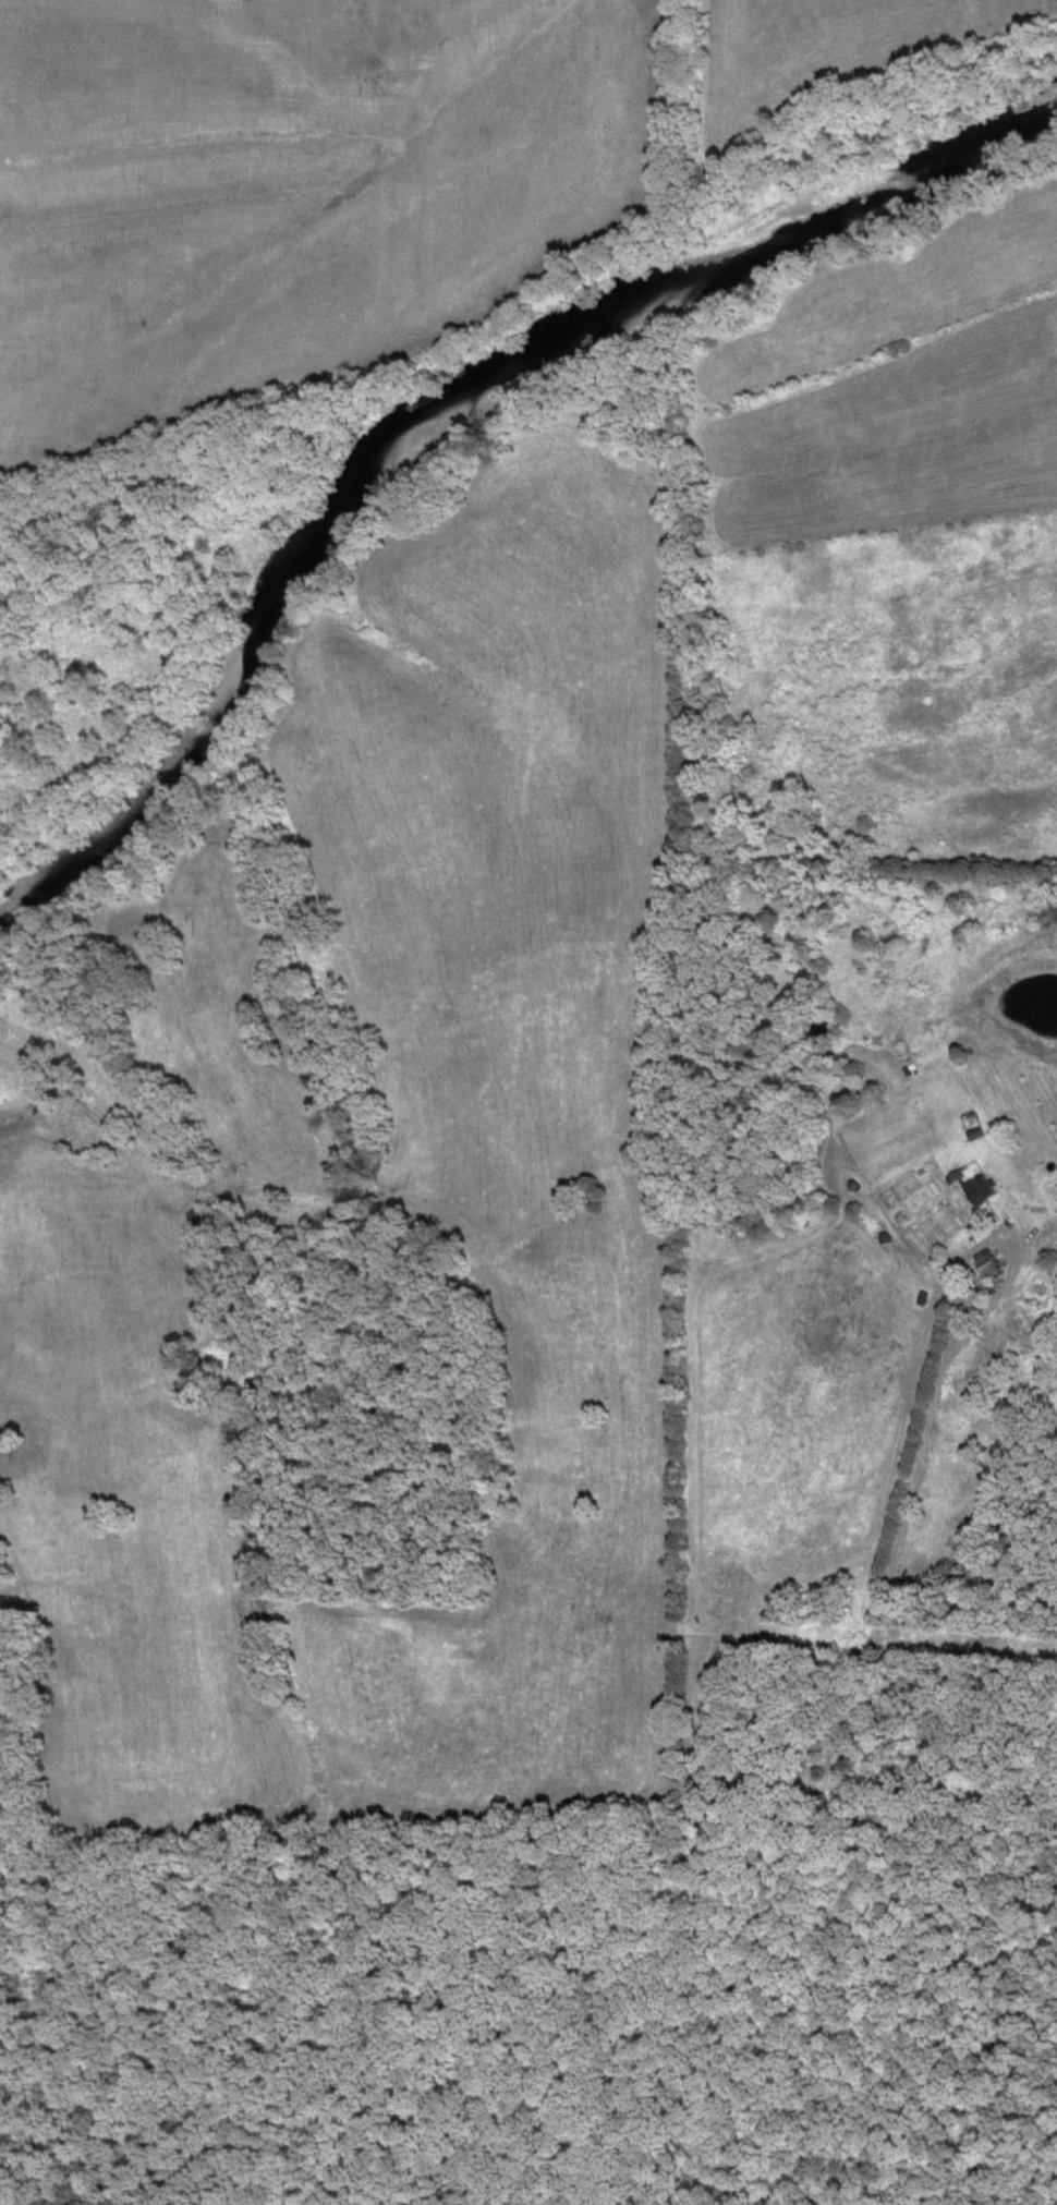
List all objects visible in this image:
building: (988, 1192)
building: (993, 1264)
road: (750, 1657)
road: (878, 1856)

